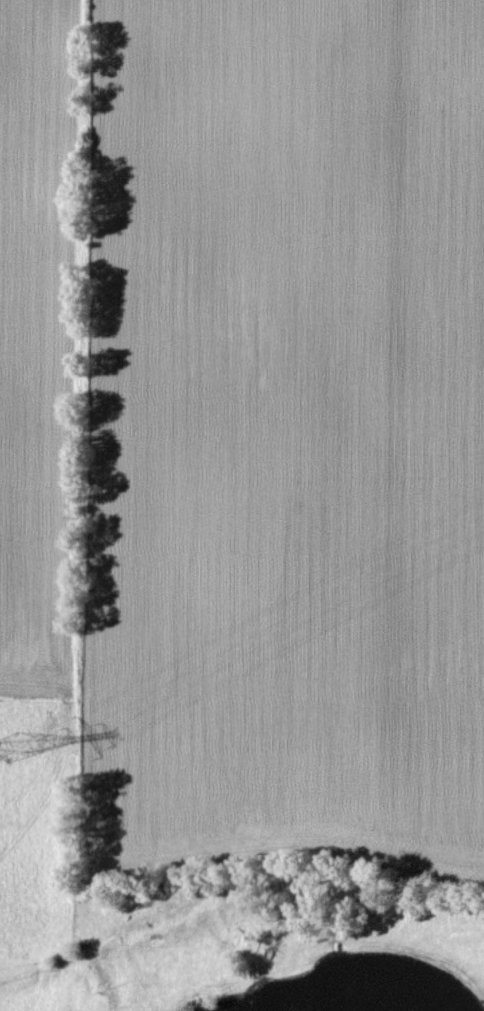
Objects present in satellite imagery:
crop: (37, 341)
crop: (280, 436)
power tower: (13, 745)

